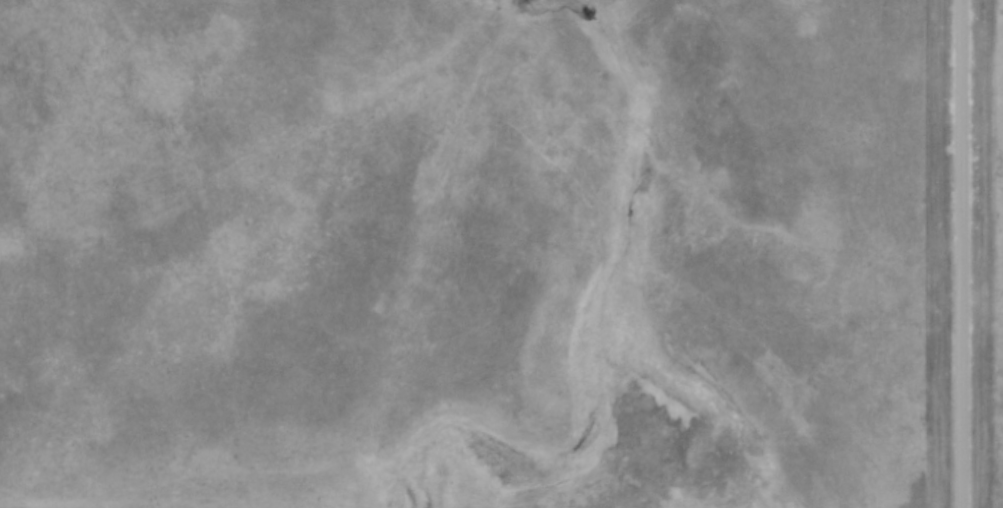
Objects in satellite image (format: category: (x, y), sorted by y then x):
road: (961, 253)

